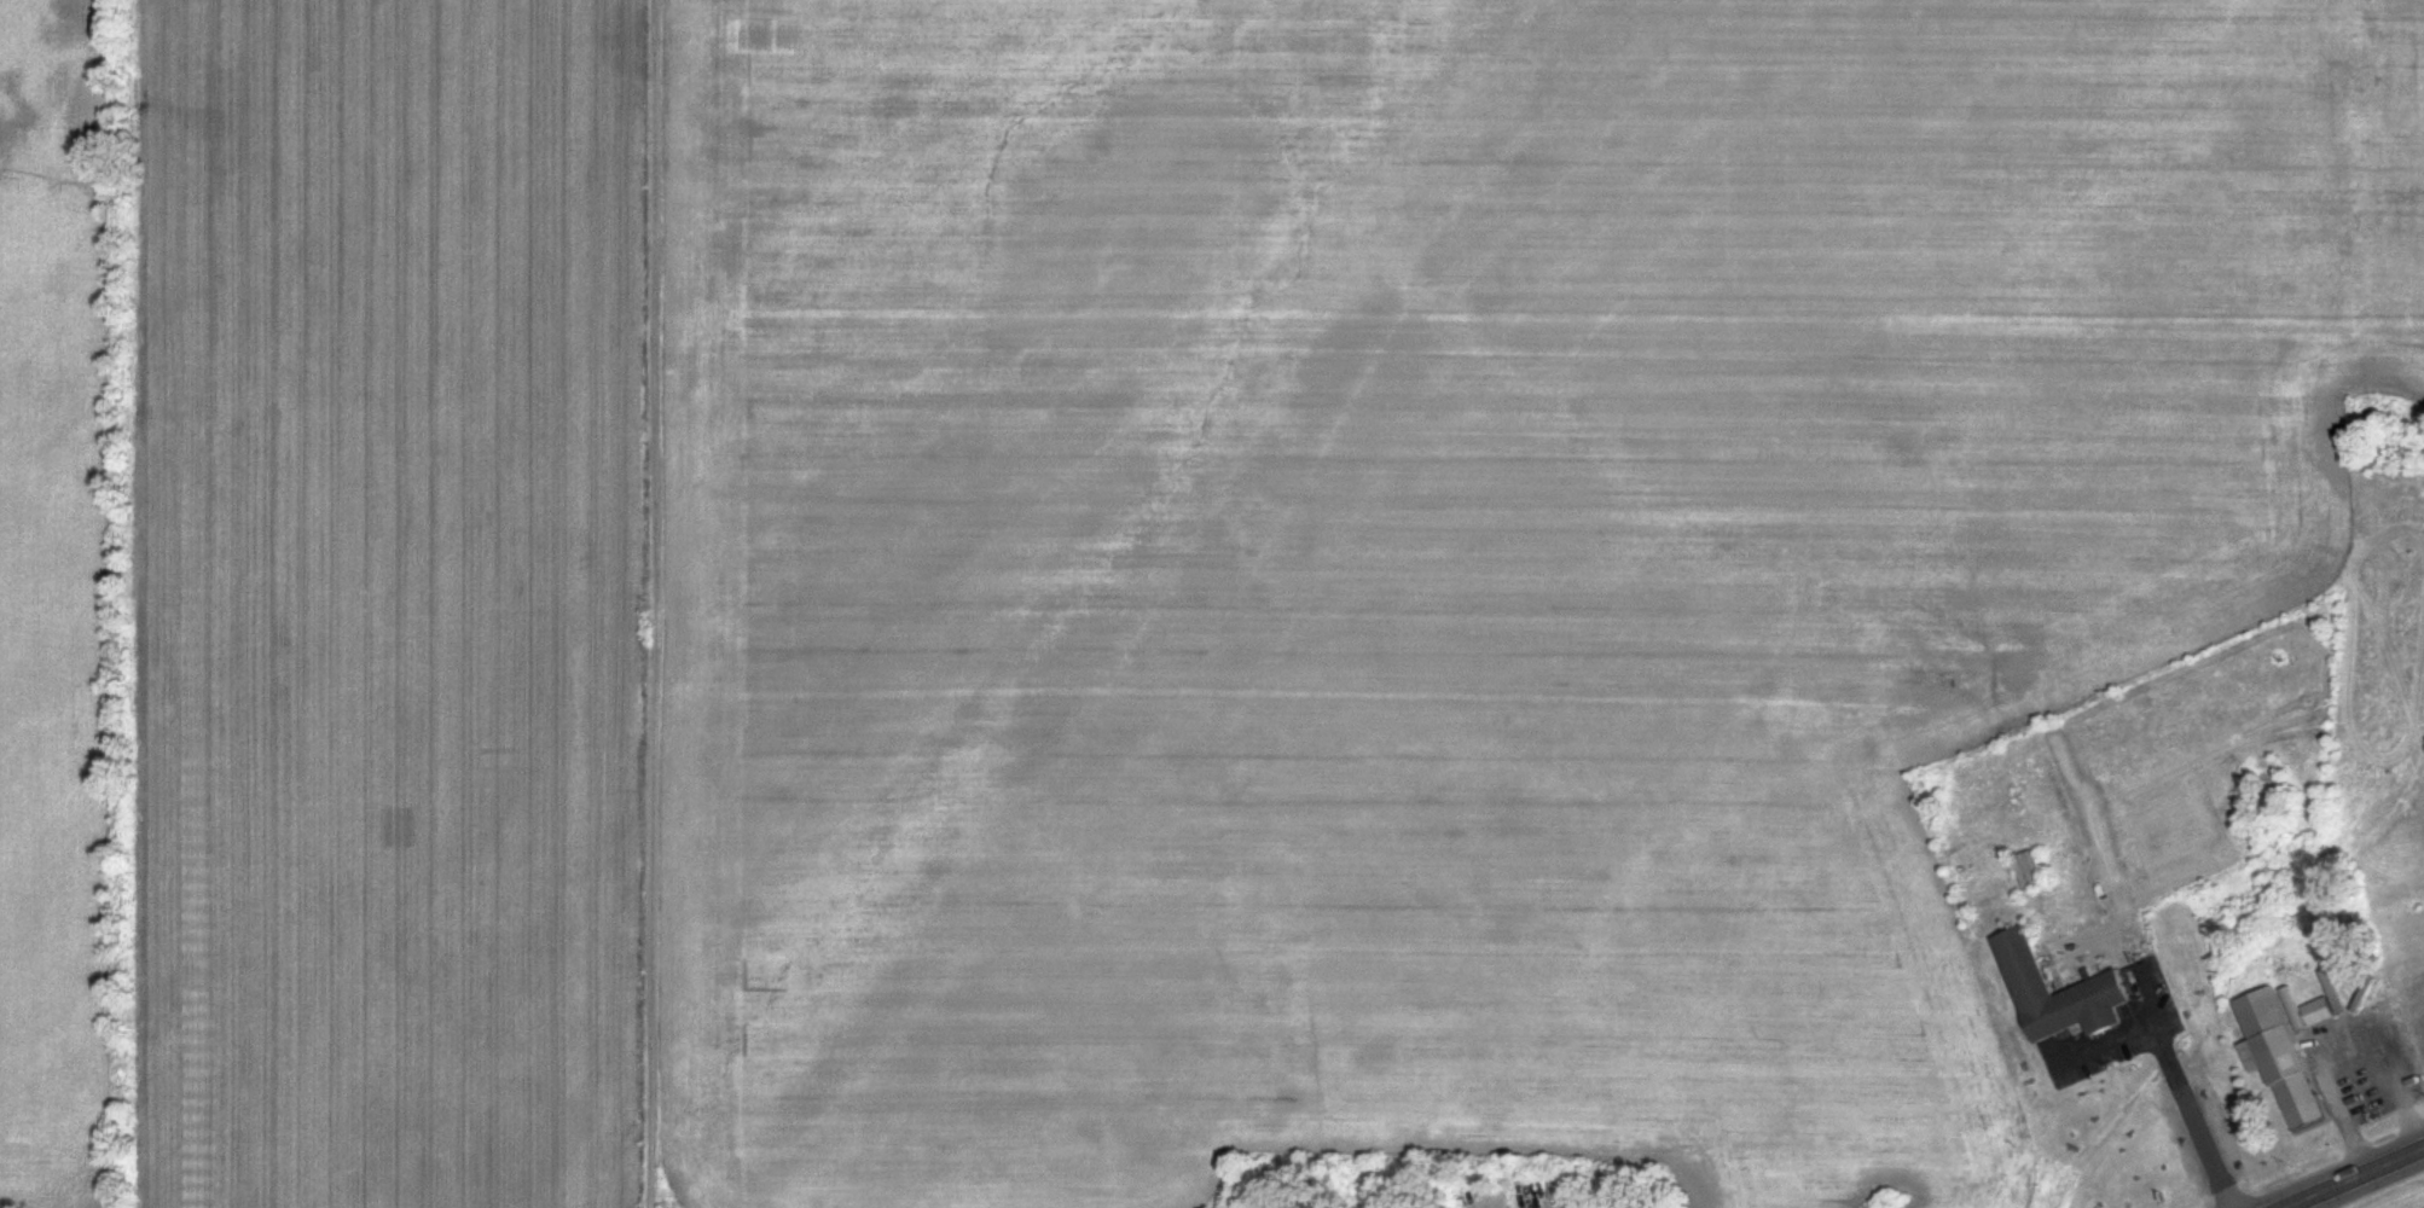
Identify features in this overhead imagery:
building: (2057, 992)
building: (2319, 1010)
building: (2279, 1056)
road: (2353, 1178)

